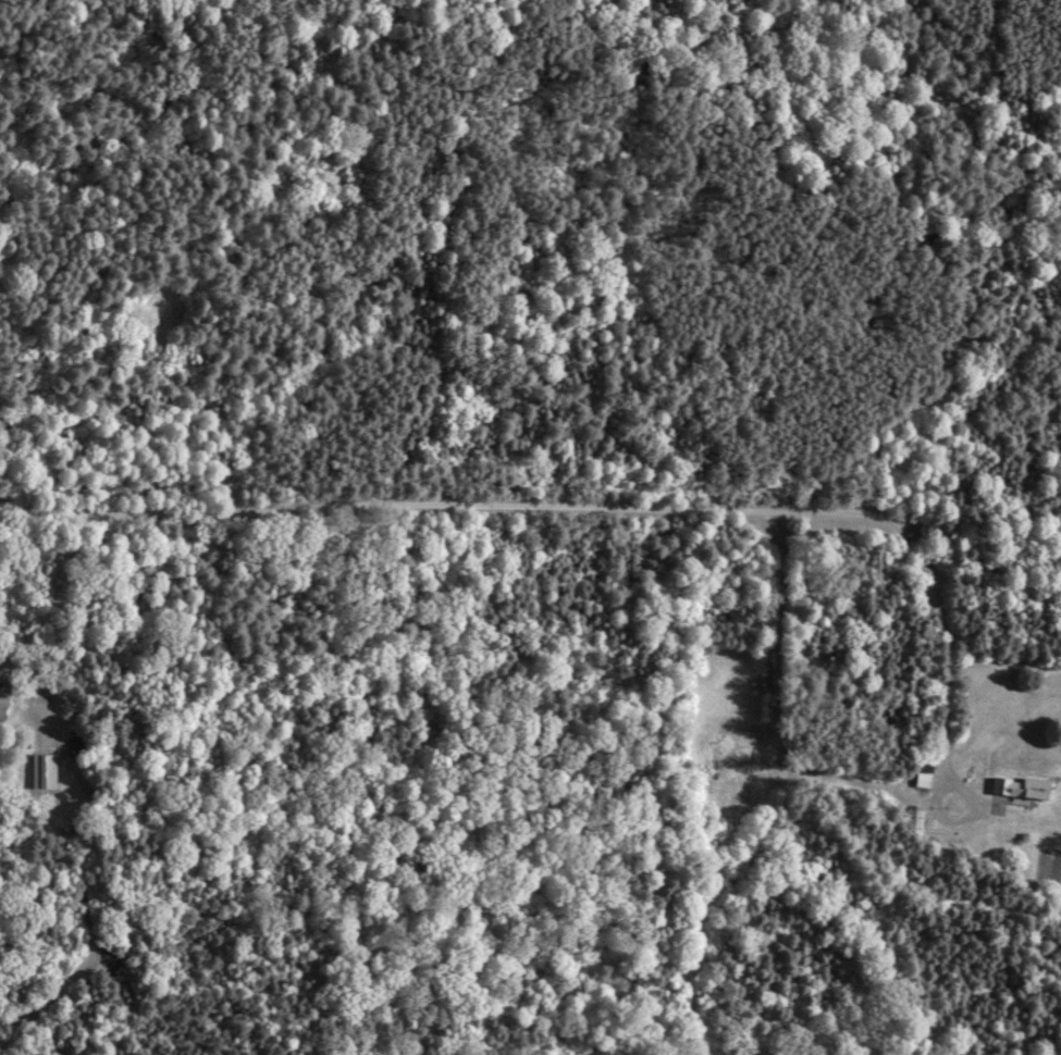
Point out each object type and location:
road: (577, 505)
building: (3, 705)
building: (41, 774)
building: (1022, 789)

